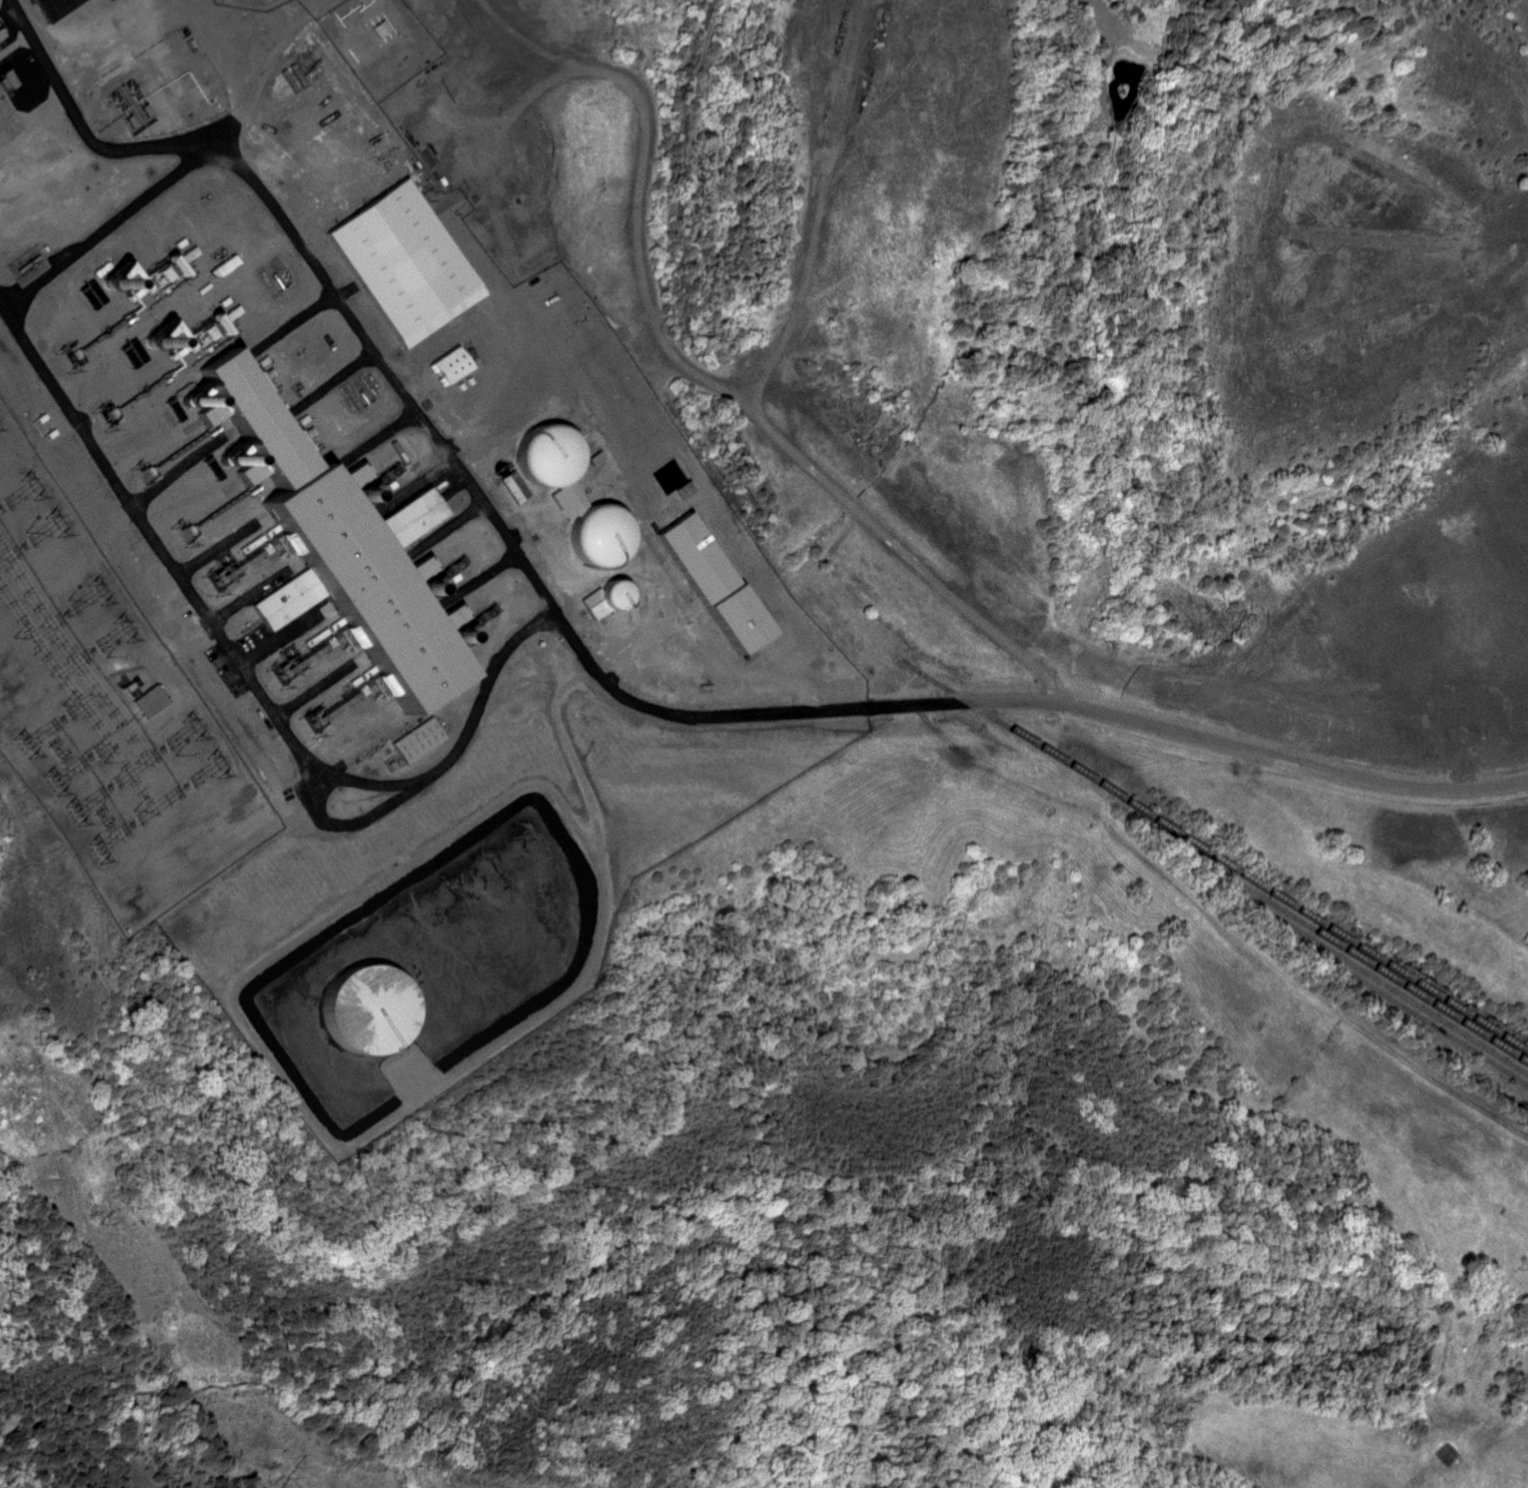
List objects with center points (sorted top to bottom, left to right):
building: (34, 7)
building: (0, 83)
building: (400, 262)
building: (152, 280)
chimney: (109, 282)
chimney: (153, 343)
power tower: (56, 362)
building: (445, 364)
chimney: (196, 400)
building: (207, 415)
power tower: (94, 421)
chimney: (233, 461)
building: (248, 474)
power tower: (139, 477)
building: (366, 477)
power tower: (24, 486)
building: (509, 488)
chimney: (378, 493)
building: (570, 497)
power tower: (47, 521)
power tower: (177, 536)
building: (332, 548)
building: (411, 573)
building: (702, 581)
power tower: (207, 584)
chimney: (444, 585)
power tower: (96, 591)
building: (605, 599)
building: (445, 620)
power tower: (123, 628)
chimney: (476, 633)
power tower: (272, 676)
road: (600, 679)
building: (148, 702)
power substation: (107, 717)
power tower: (303, 725)
power tower: (191, 727)
building: (420, 741)
power tower: (19, 744)
power tower: (217, 764)
power tower: (44, 779)
power tower: (68, 812)
power tower: (92, 849)
railway: (1228, 874)
railway: (1331, 925)
railway: (1376, 964)
railway: (1409, 995)
power tower: (96, 1217)
power tower: (289, 1475)

